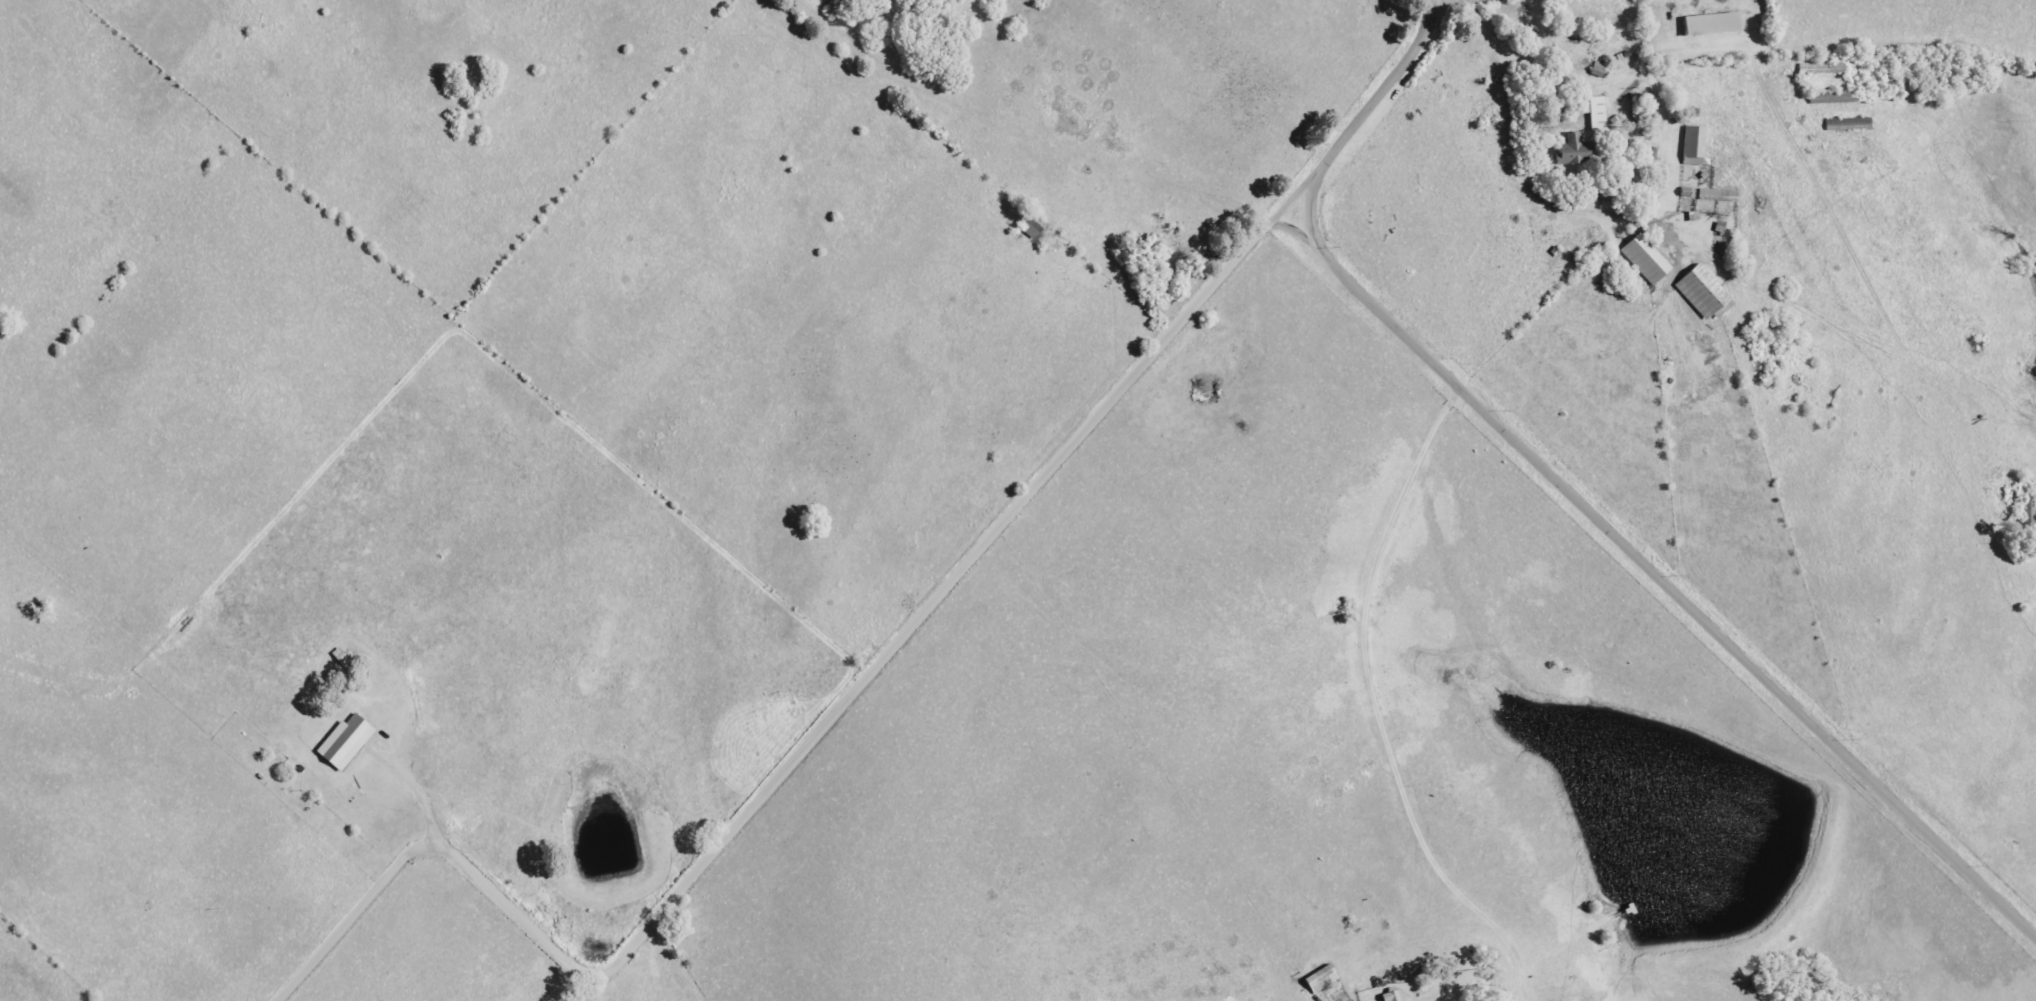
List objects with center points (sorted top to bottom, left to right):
building: (1710, 24)
road: (1365, 105)
building: (1596, 114)
road: (1461, 115)
building: (1693, 147)
building: (1573, 150)
building: (1644, 259)
building: (1700, 292)
building: (2029, 511)
road: (1655, 577)
building: (344, 743)
road: (803, 755)
building: (1320, 980)
building: (1392, 996)

